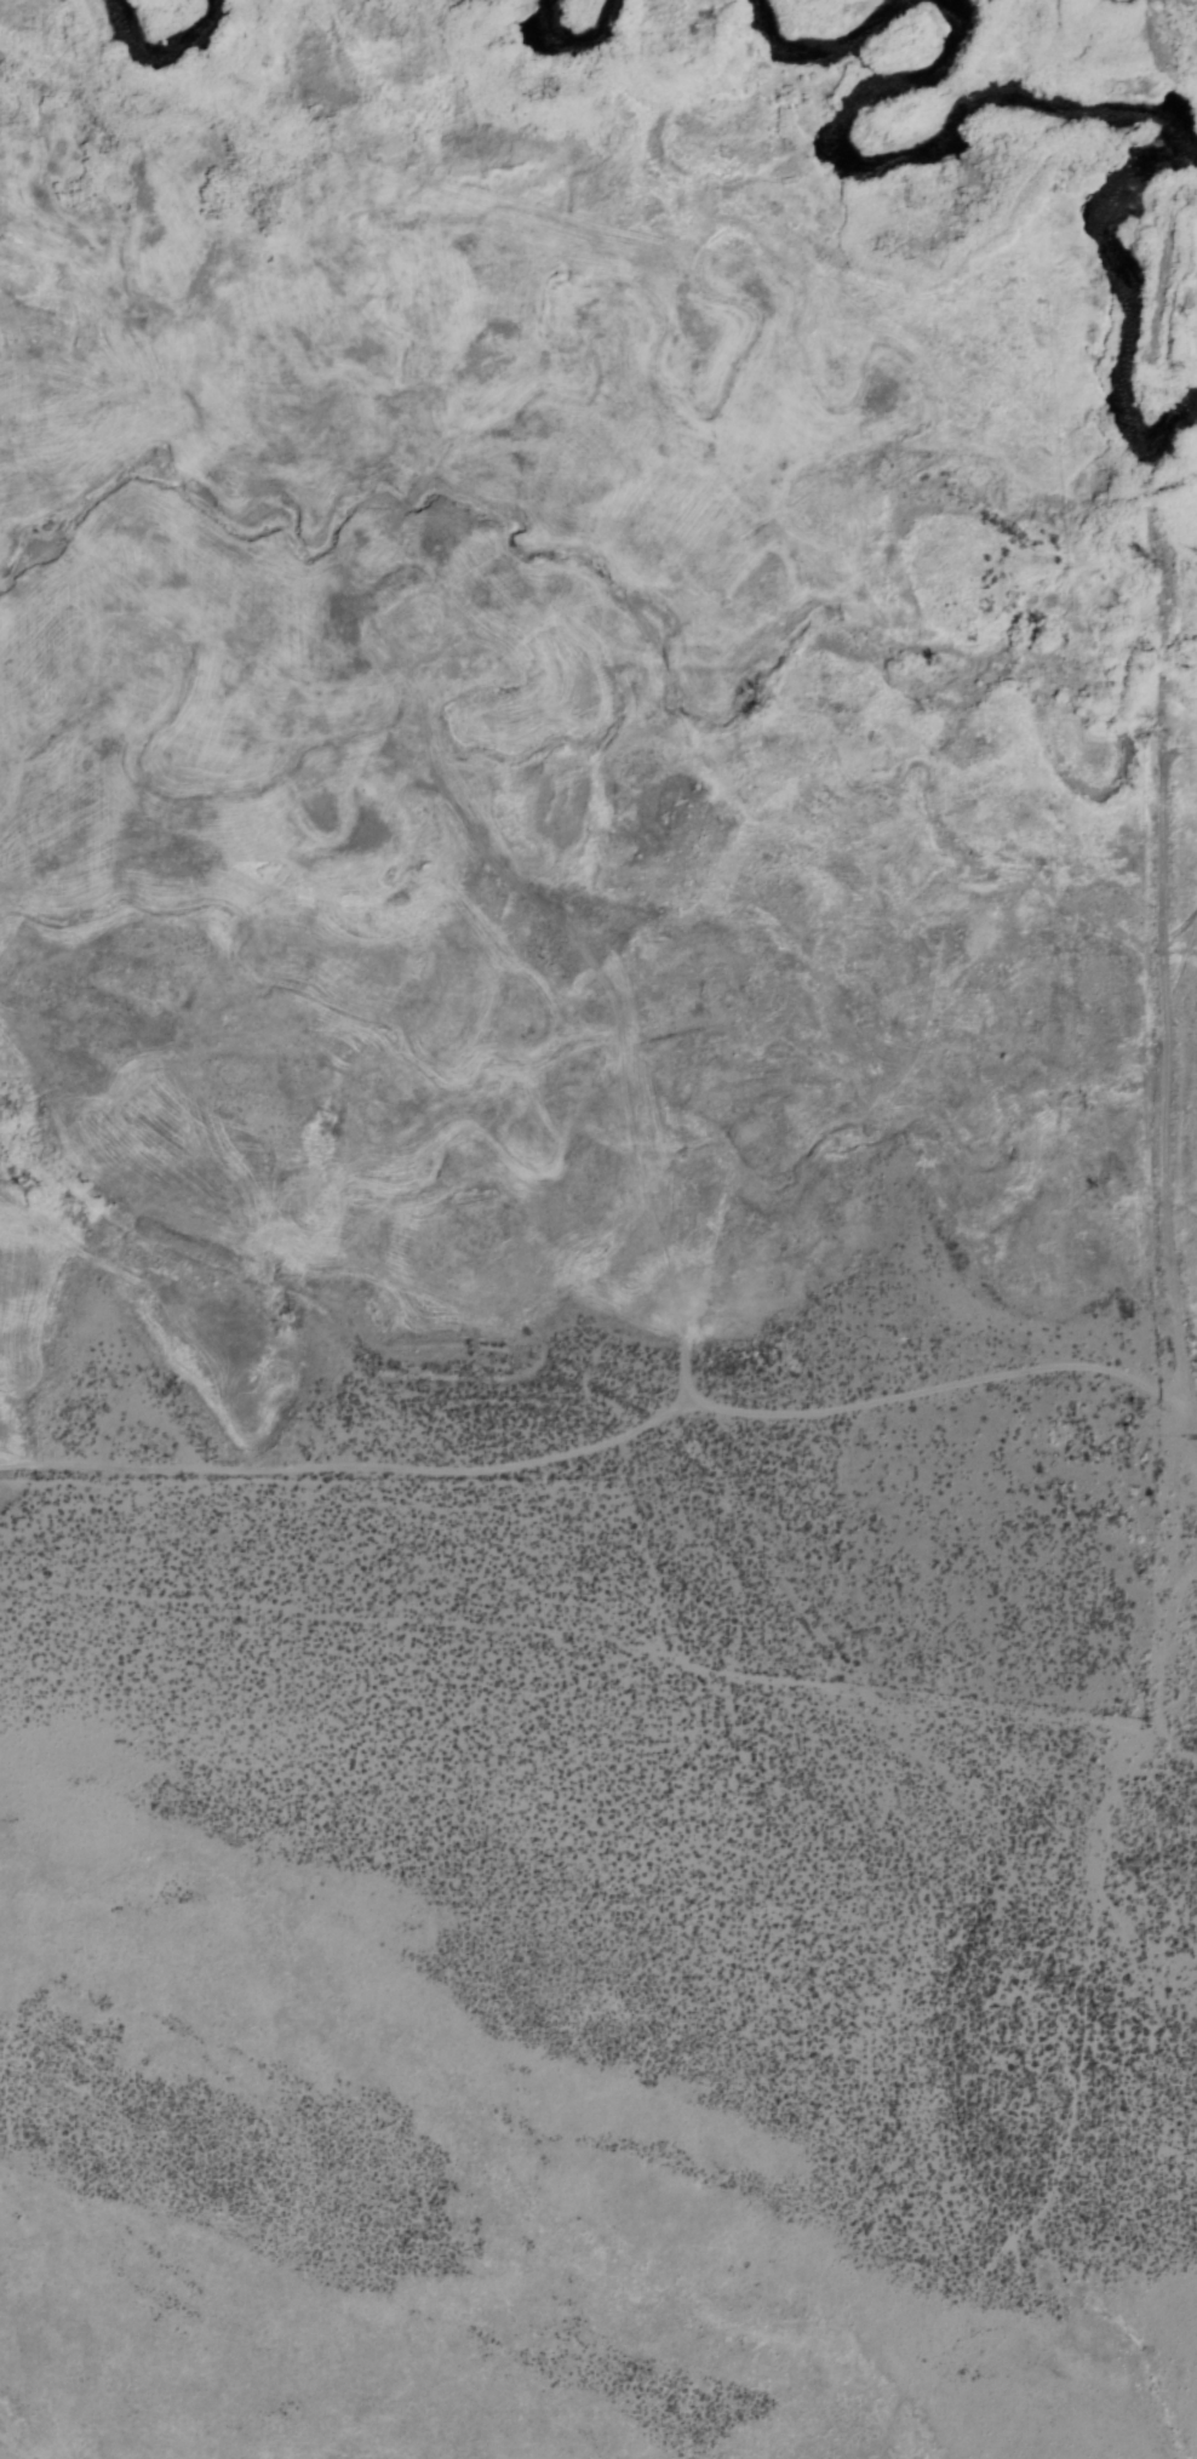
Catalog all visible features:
river: (574, 7)
river: (155, 24)
river: (1036, 116)
road: (1173, 1151)
road: (605, 1442)

